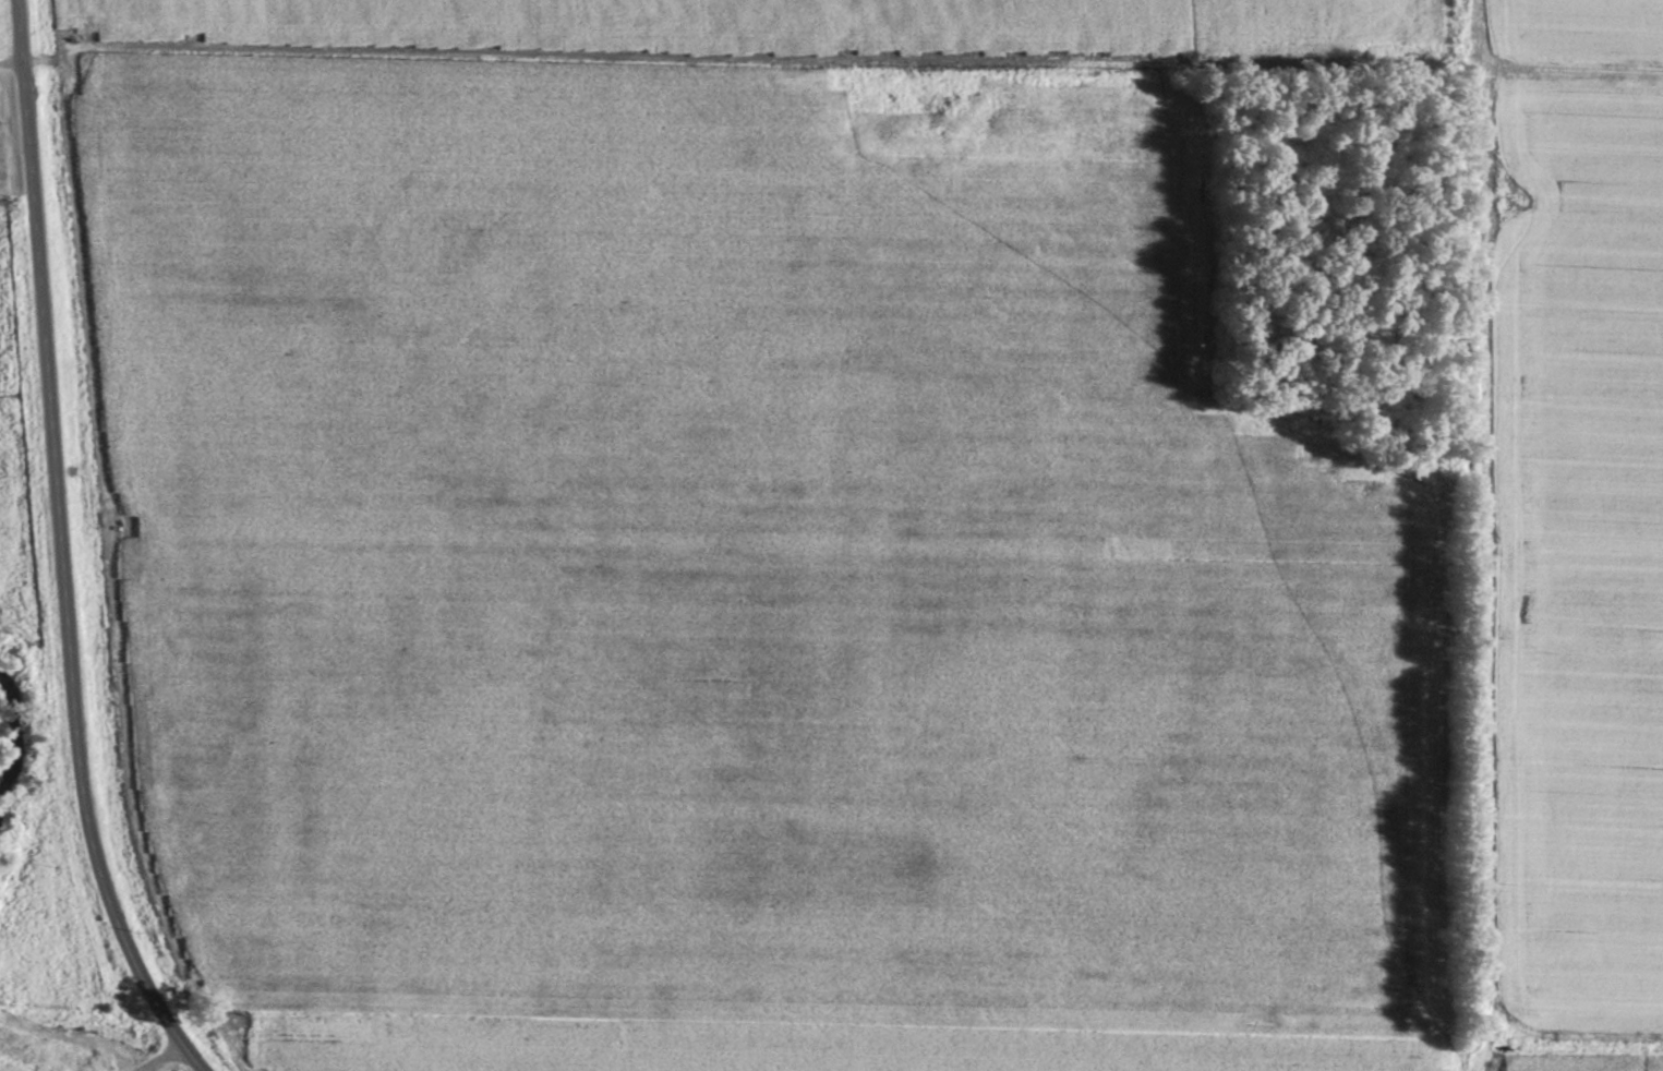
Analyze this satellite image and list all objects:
road: (60, 550)

